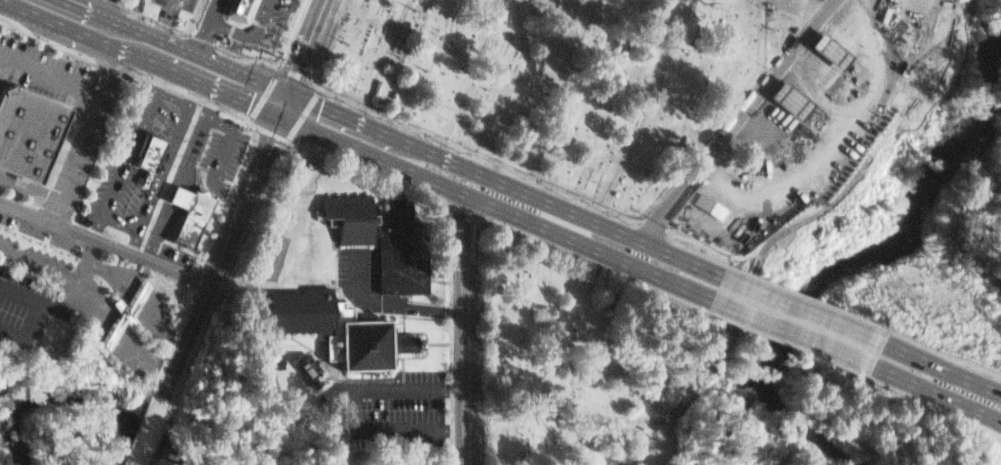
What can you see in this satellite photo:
road: (18, 7)
road: (101, 7)
road: (90, 10)
building: (266, 13)
road: (166, 19)
building: (923, 30)
road: (80, 33)
road: (241, 33)
road: (201, 36)
road: (302, 45)
building: (830, 52)
road: (199, 56)
traffic signals: (295, 64)
road: (51, 77)
road: (469, 78)
park: (556, 83)
road: (202, 84)
building: (791, 101)
traffic signals: (250, 104)
road: (282, 104)
traffic signals: (321, 107)
road: (645, 111)
road: (340, 115)
building: (23, 129)
road: (88, 137)
road: (872, 140)
road: (287, 142)
traffic signals: (269, 144)
building: (144, 150)
road: (260, 163)
road: (30, 192)
building: (183, 208)
road: (502, 210)
road: (566, 210)
building: (350, 218)
road: (104, 244)
road: (225, 248)
river: (864, 256)
road: (36, 266)
park: (739, 266)
road: (69, 286)
road: (390, 306)
road: (800, 310)
road: (30, 314)
road: (462, 329)
building: (340, 332)
road: (791, 333)
road: (447, 334)
road: (715, 340)
road: (182, 347)
park: (565, 359)
road: (933, 366)
building: (309, 370)
road: (929, 391)
river: (84, 394)
road: (354, 409)
road: (470, 416)
road: (543, 416)
river: (803, 426)
park: (614, 436)
road: (145, 437)
road: (613, 440)

